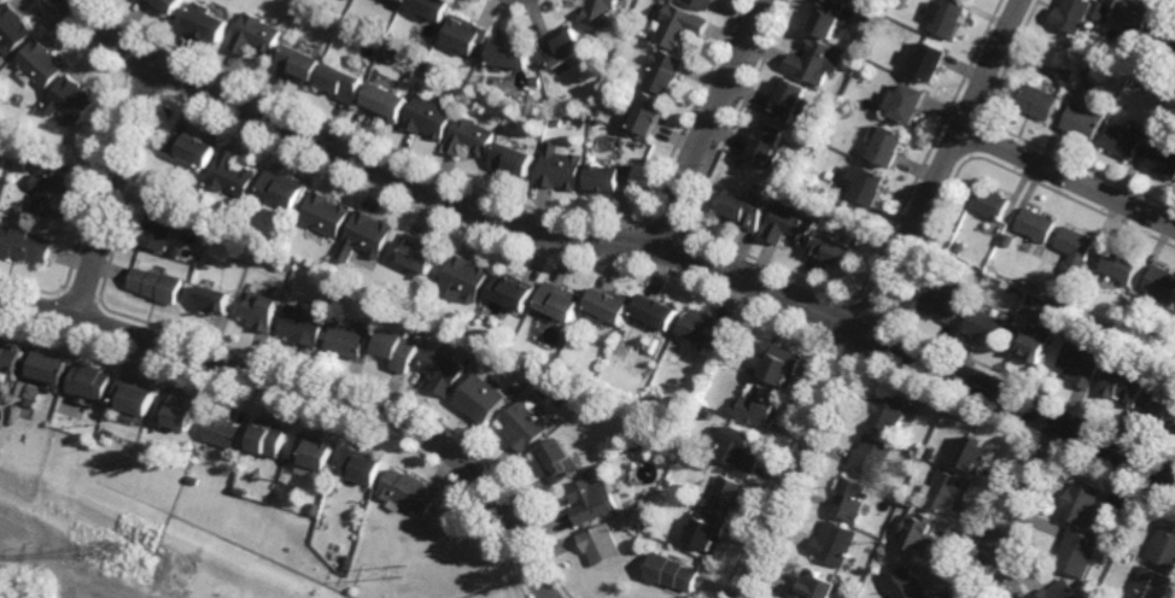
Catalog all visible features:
building: (399, 0)
building: (707, 2)
building: (168, 4)
building: (432, 7)
building: (601, 12)
building: (1134, 12)
building: (1072, 14)
building: (832, 16)
building: (952, 18)
building: (205, 22)
building: (683, 25)
building: (12, 29)
building: (1167, 30)
building: (256, 34)
building: (467, 34)
building: (1089, 41)
building: (566, 46)
building: (1083, 47)
building: (1095, 54)
building: (511, 55)
building: (819, 60)
building: (933, 60)
building: (39, 64)
building: (299, 64)
building: (667, 72)
building: (537, 81)
building: (343, 82)
building: (1167, 87)
building: (1107, 89)
building: (69, 99)
building: (794, 100)
building: (1040, 100)
building: (385, 102)
building: (911, 102)
building: (1174, 105)
building: (600, 111)
building: (653, 113)
building: (428, 117)
building: (1083, 121)
road: (712, 122)
building: (560, 123)
building: (470, 136)
building: (1124, 141)
building: (770, 142)
building: (893, 146)
building: (191, 147)
building: (18, 149)
building: (513, 159)
building: (1163, 160)
building: (562, 168)
building: (229, 175)
road: (1069, 177)
building: (612, 178)
building: (48, 186)
building: (873, 187)
building: (281, 188)
road: (111, 190)
building: (992, 204)
building: (747, 211)
building: (323, 213)
building: (793, 224)
building: (1035, 224)
building: (156, 229)
building: (367, 234)
building: (1010, 239)
building: (276, 240)
road: (619, 241)
building: (22, 245)
building: (963, 247)
building: (836, 248)
building: (1075, 250)
building: (173, 251)
building: (419, 253)
building: (286, 265)
building: (1121, 265)
building: (463, 279)
building: (154, 283)
building: (1161, 283)
building: (513, 291)
building: (1136, 297)
building: (1058, 298)
road: (882, 299)
building: (210, 300)
building: (559, 301)
building: (1068, 301)
building: (951, 303)
building: (609, 304)
building: (259, 311)
building: (656, 312)
building: (350, 323)
building: (300, 324)
building: (625, 327)
building: (989, 328)
building: (708, 329)
building: (345, 341)
building: (1035, 341)
building: (396, 350)
building: (8, 357)
building: (1080, 365)
building: (47, 367)
building: (785, 367)
building: (440, 371)
building: (89, 381)
building: (1124, 387)
road: (314, 389)
building: (514, 391)
building: (135, 397)
building: (480, 399)
building: (1163, 408)
building: (764, 409)
building: (176, 412)
building: (889, 415)
building: (682, 420)
building: (524, 427)
building: (224, 429)
building: (644, 429)
building: (110, 433)
building: (269, 439)
building: (941, 445)
building: (183, 446)
building: (741, 450)
building: (922, 451)
building: (314, 452)
building: (935, 453)
building: (976, 457)
building: (873, 458)
building: (557, 461)
building: (361, 467)
building: (192, 480)
building: (670, 483)
road: (1027, 488)
building: (948, 489)
building: (408, 491)
building: (727, 493)
building: (849, 499)
building: (590, 502)
building: (1077, 503)
building: (315, 508)
building: (706, 528)
building: (919, 528)
building: (598, 541)
building: (834, 541)
building: (1163, 546)
power tower: (111, 550)
building: (1074, 551)
building: (1124, 555)
building: (349, 558)
power tower: (403, 568)
building: (671, 569)
building: (1150, 581)
building: (812, 582)
building: (905, 584)
building: (1056, 591)

